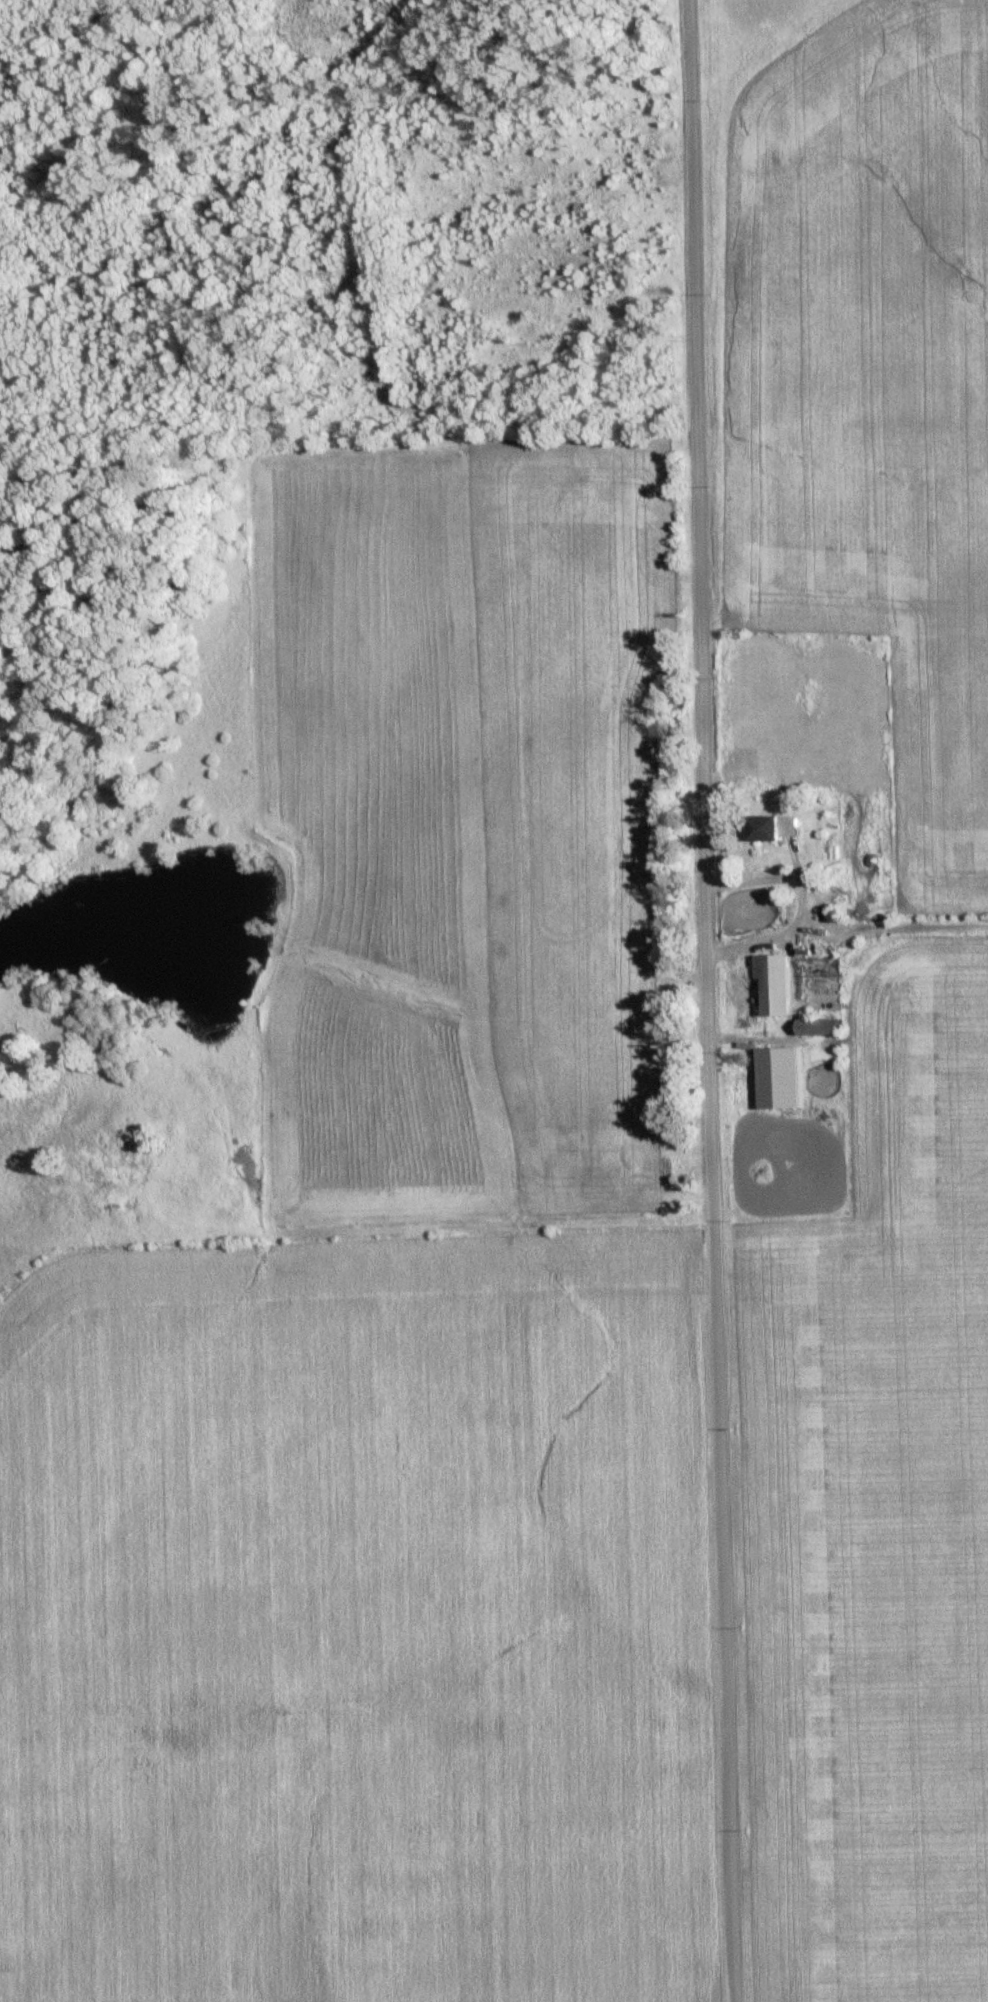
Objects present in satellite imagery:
building: (780, 825)
building: (813, 876)
building: (779, 980)
road: (701, 1001)
building: (824, 1023)
building: (783, 1074)

